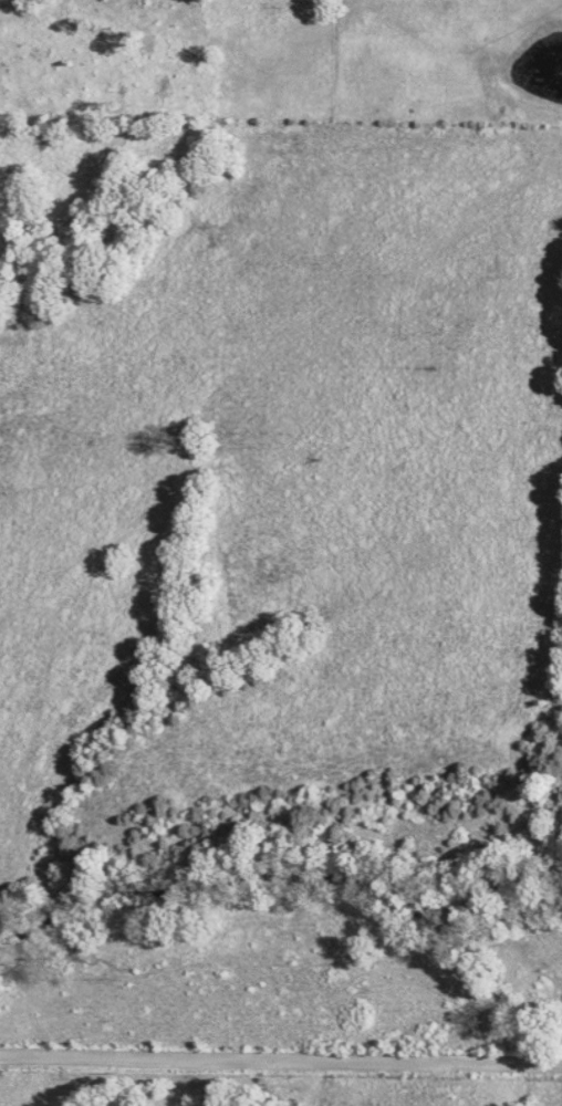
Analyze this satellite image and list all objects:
road: (281, 1057)

